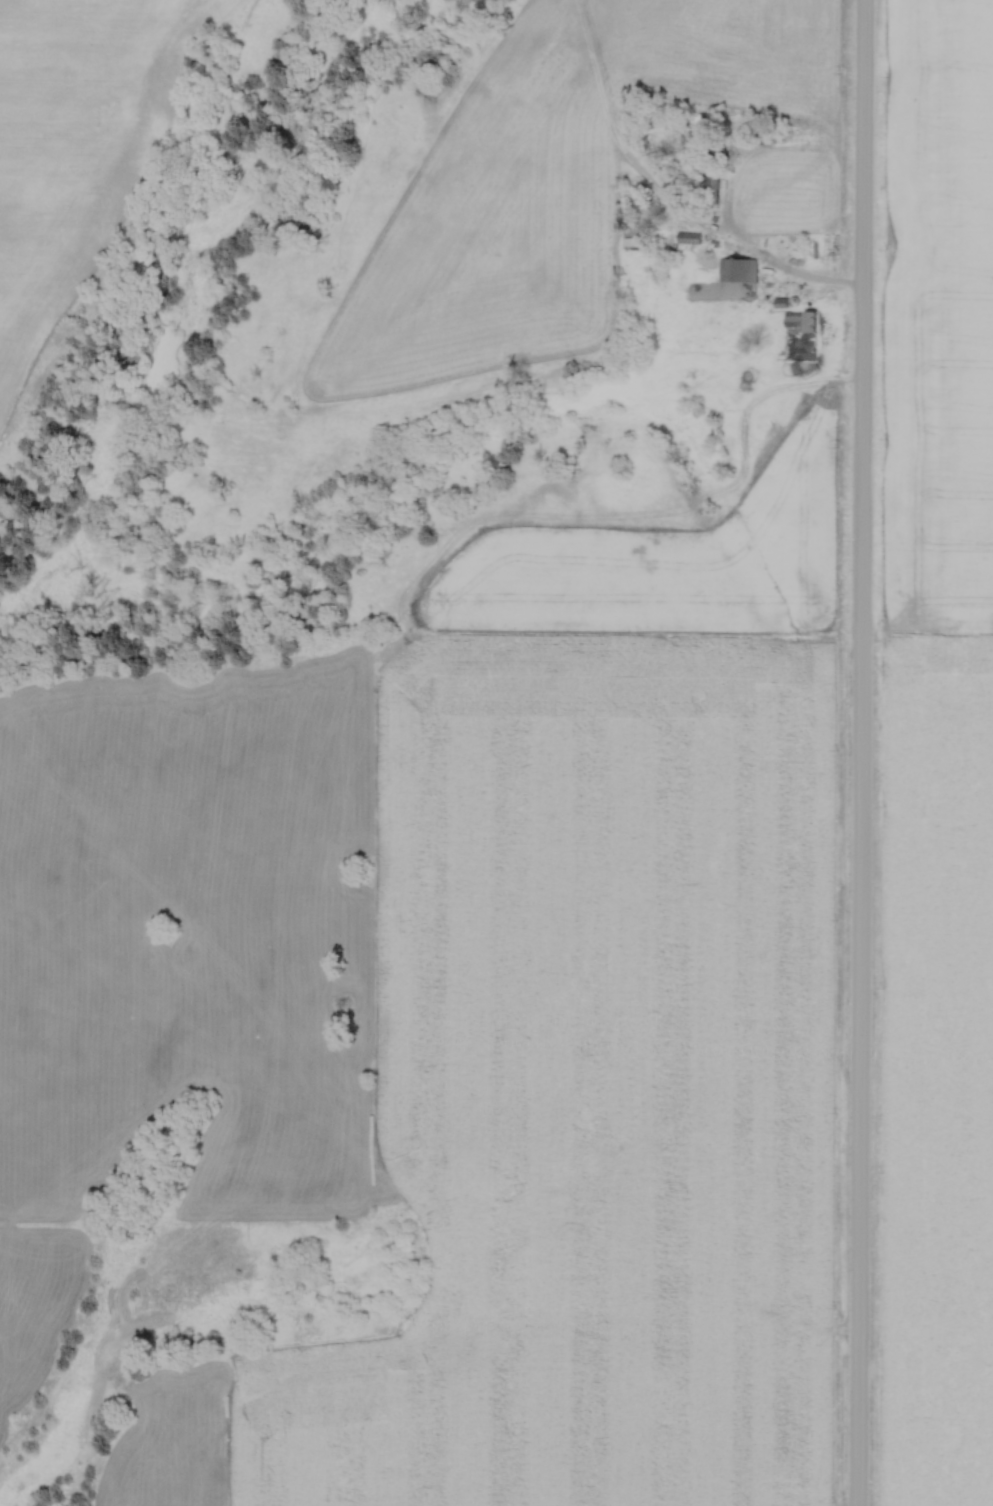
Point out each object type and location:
building: (687, 237)
building: (738, 269)
road: (795, 278)
crop: (939, 315)
building: (800, 320)
road: (857, 752)
crop: (594, 1087)

